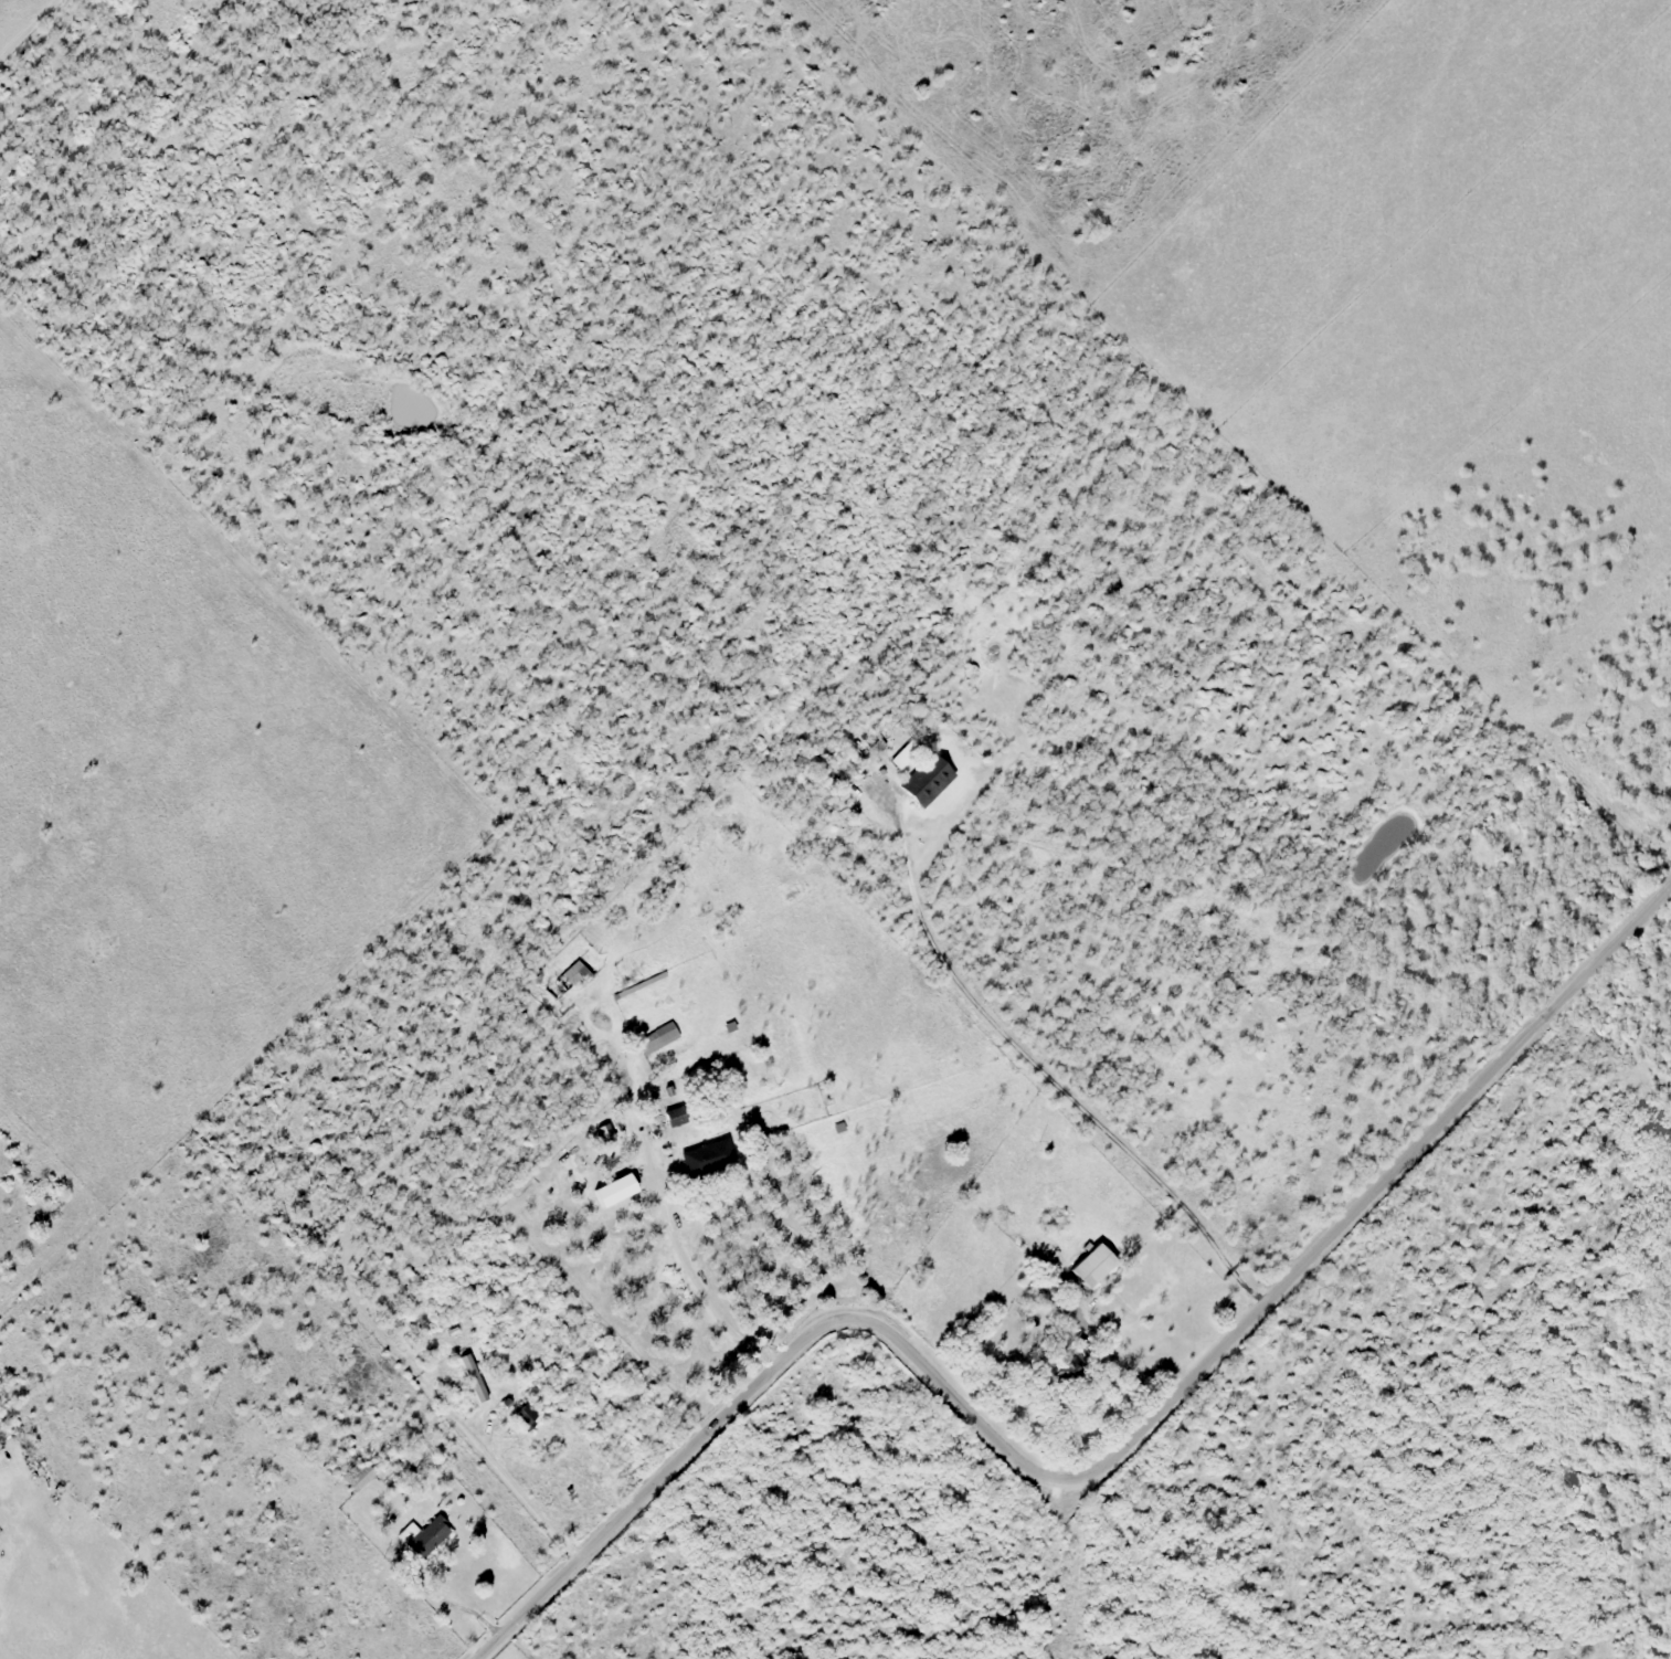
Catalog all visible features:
building: (901, 753)
building: (926, 782)
building: (567, 981)
building: (656, 1039)
building: (677, 1117)
building: (606, 1133)
building: (707, 1156)
building: (1091, 1266)
road: (700, 1282)
building: (1059, 1342)
building: (472, 1378)
building: (527, 1418)
road: (1097, 1469)
building: (360, 1477)
building: (408, 1534)
building: (425, 1539)

